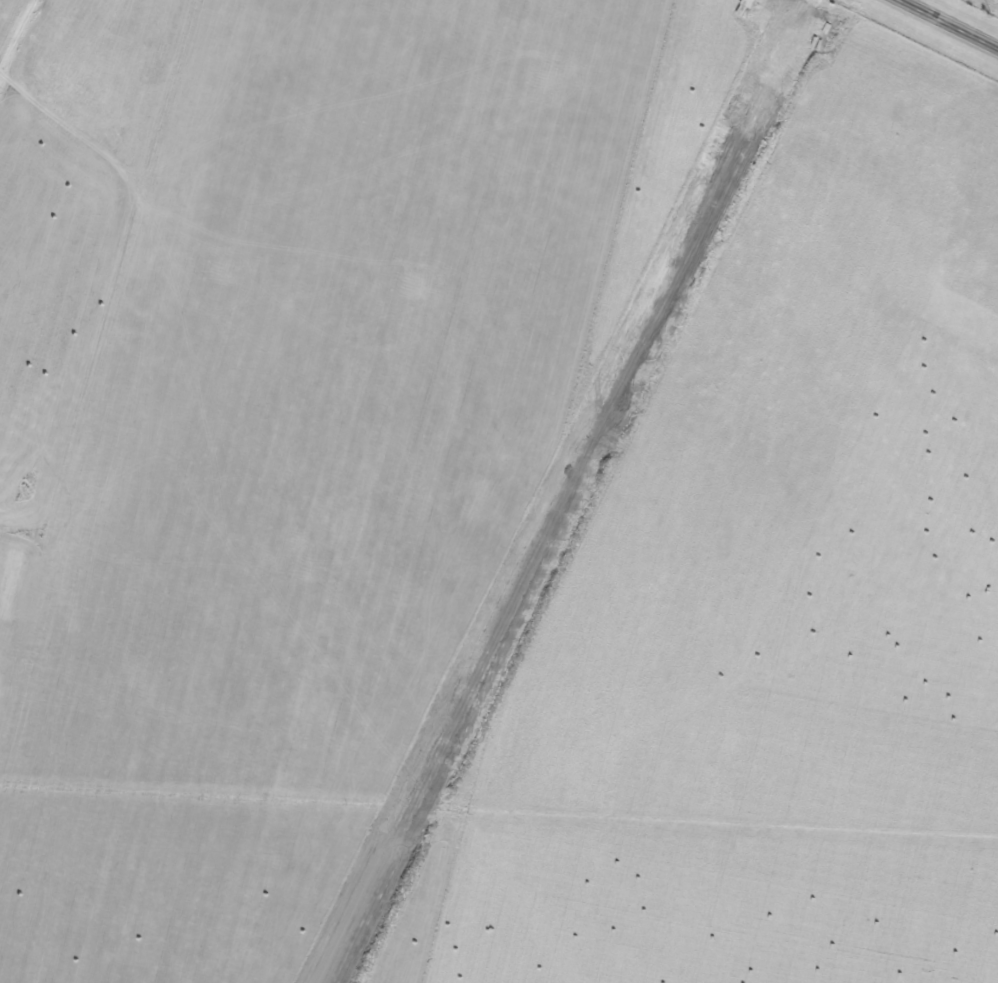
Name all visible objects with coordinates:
road: (950, 23)

